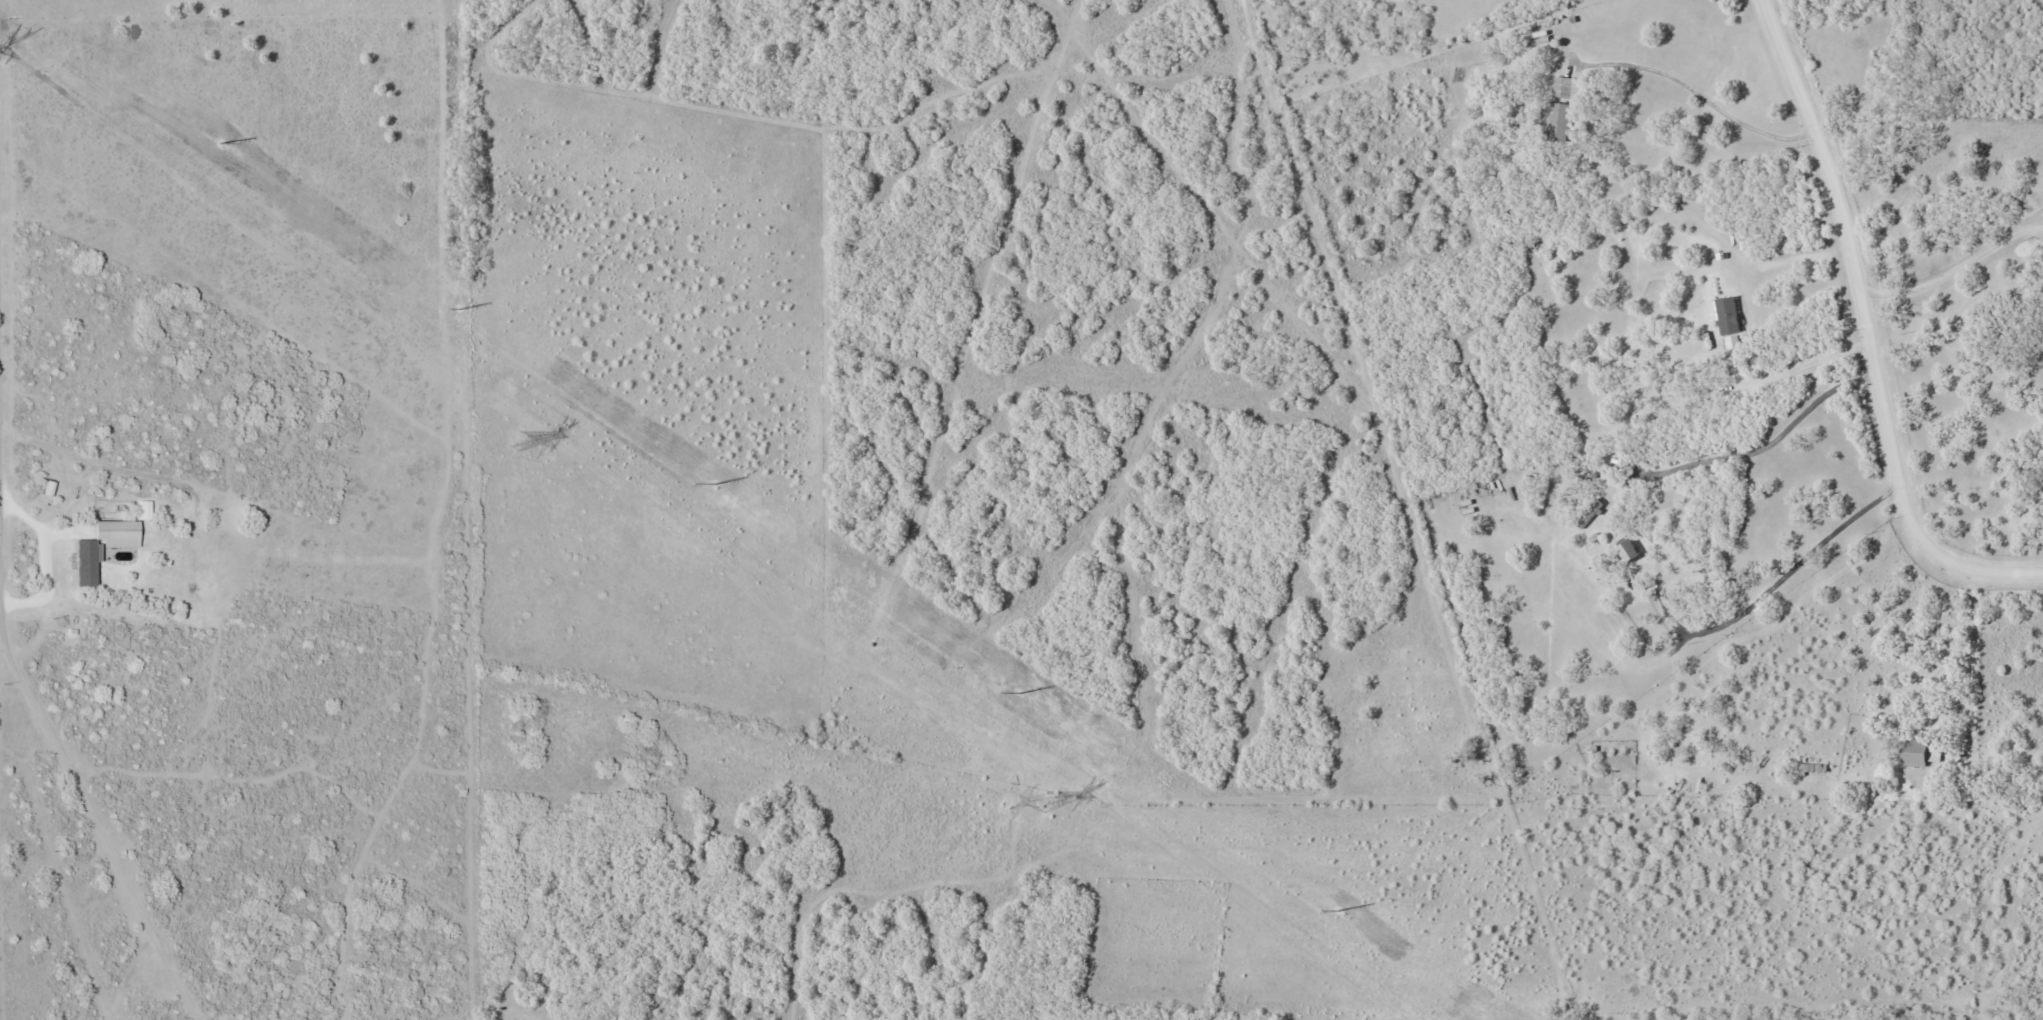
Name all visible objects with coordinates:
building: (1564, 86)
road: (1693, 94)
building: (1555, 122)
road: (1952, 269)
building: (1724, 313)
road: (1868, 331)
building: (1695, 351)
road: (1806, 360)
building: (1755, 362)
power tower: (519, 442)
building: (1589, 511)
building: (1629, 550)
road: (1969, 662)
building: (1920, 752)
building: (1813, 767)
power tower: (1045, 802)

